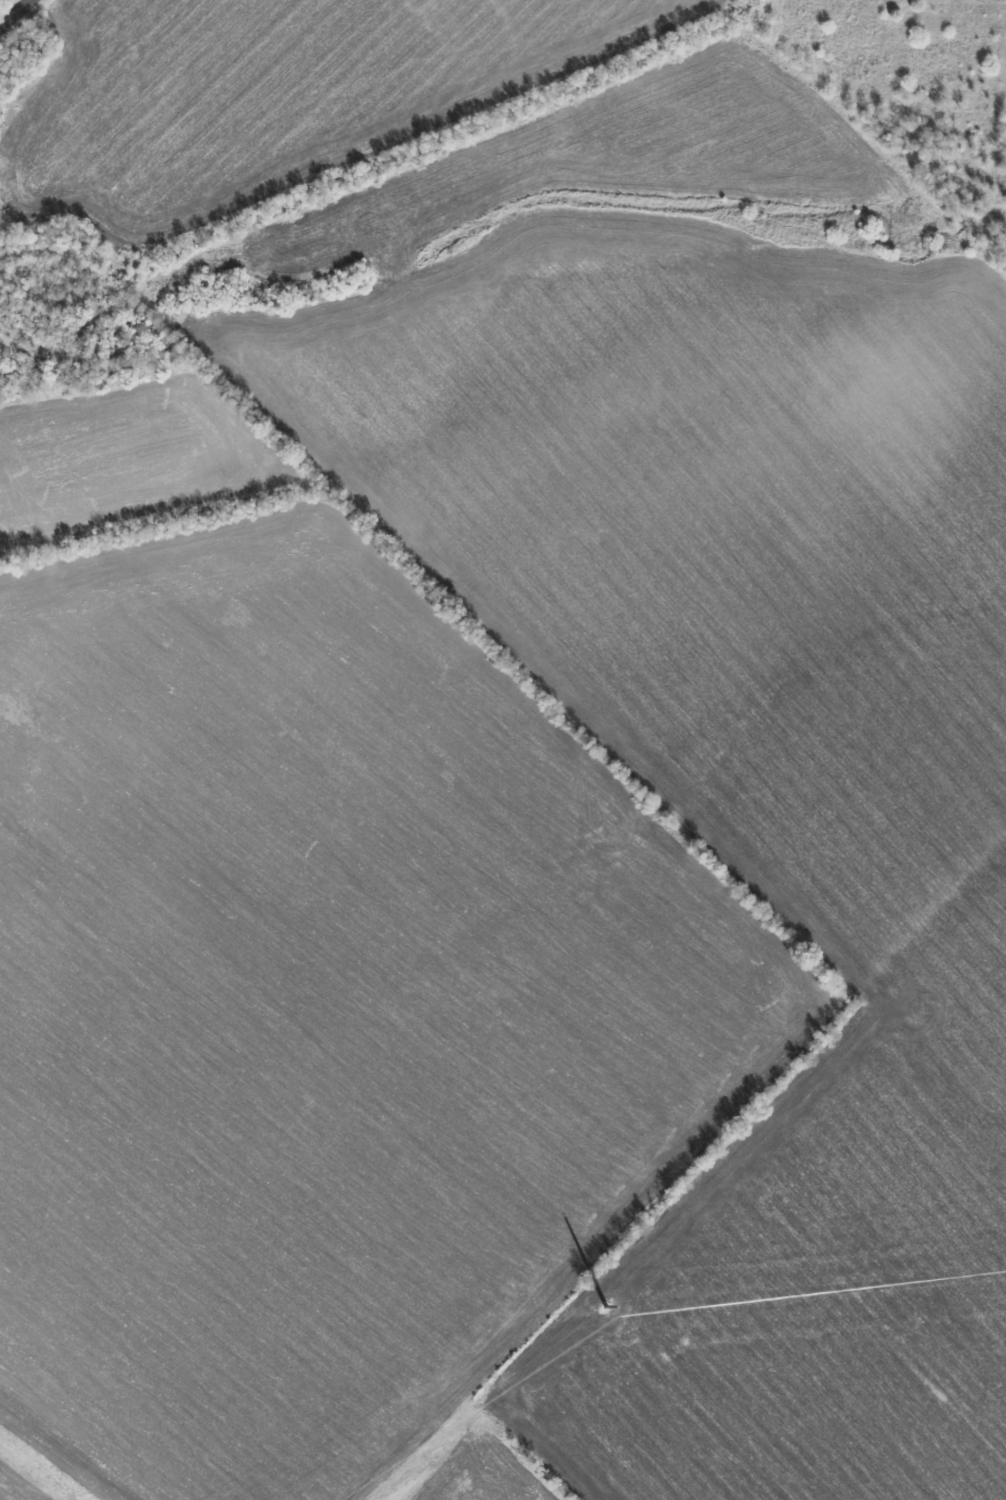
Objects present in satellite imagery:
road: (16, 13)
power tower: (596, 1312)

